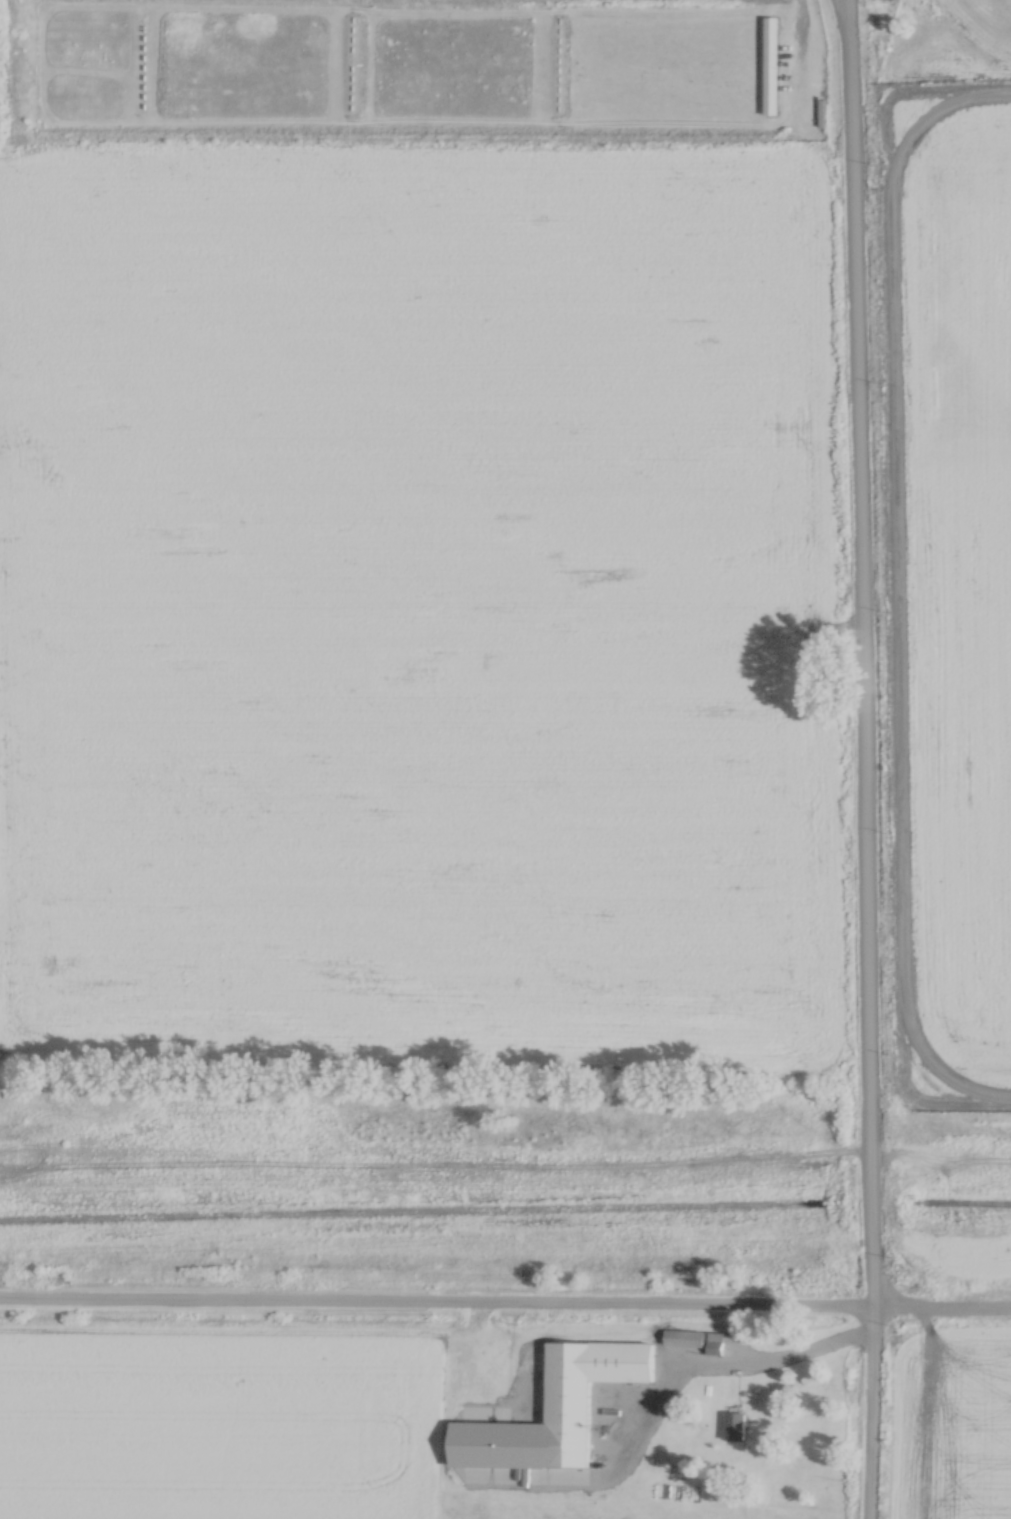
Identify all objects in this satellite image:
road: (844, 12)
building: (771, 62)
road: (897, 586)
road: (859, 651)
road: (505, 1299)
building: (696, 1336)
building: (585, 1388)
road: (643, 1410)
road: (871, 1411)
building: (735, 1421)

